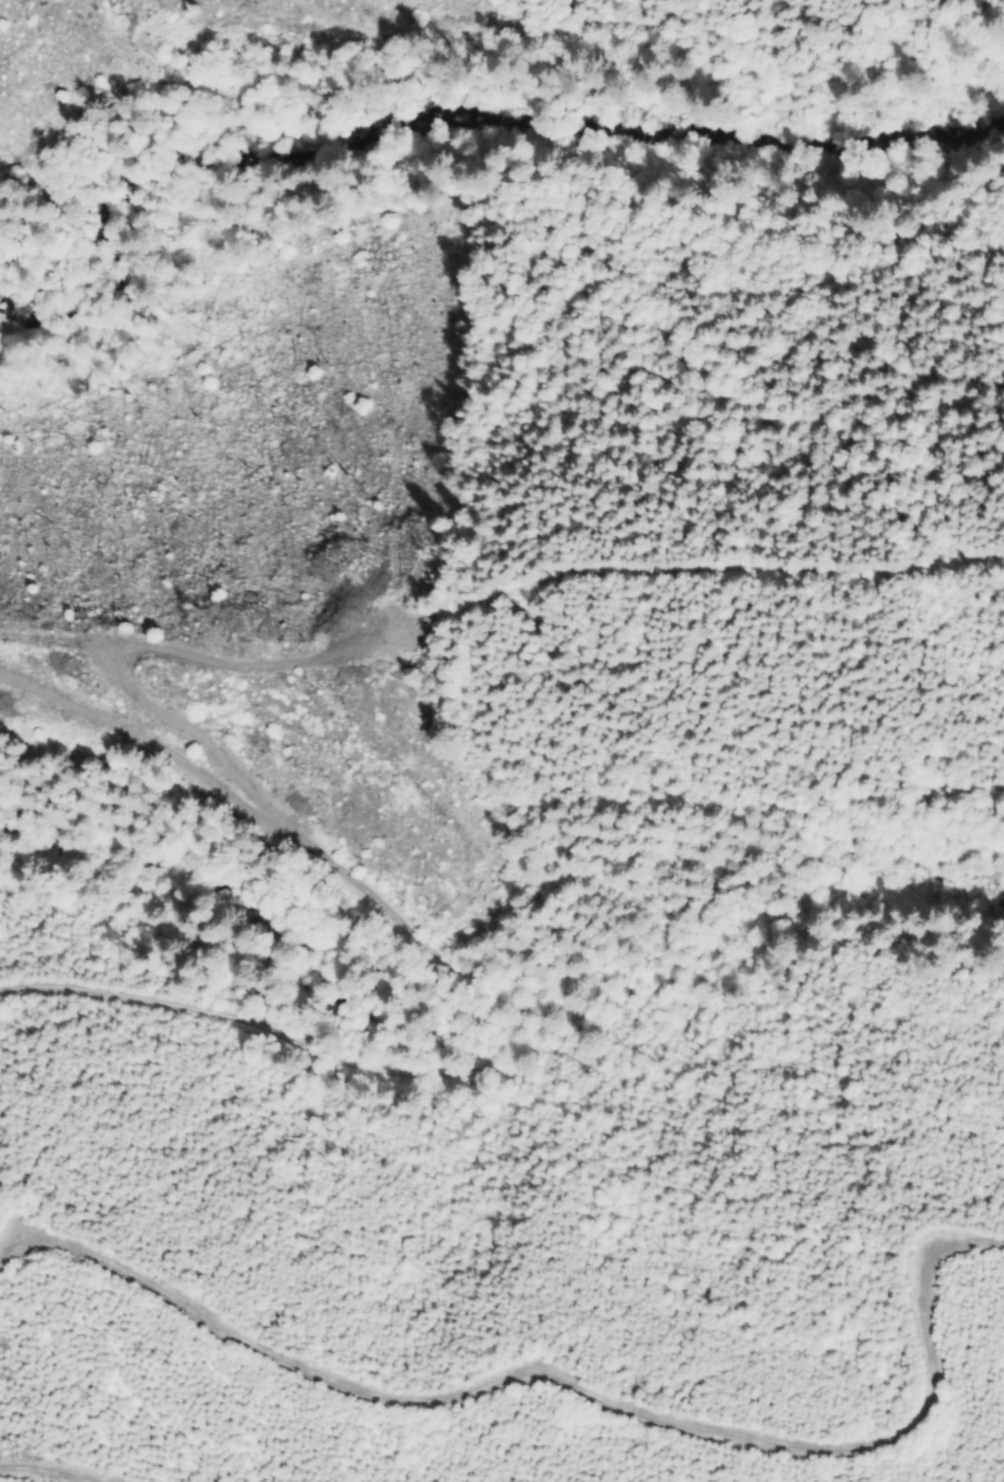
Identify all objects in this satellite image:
road: (175, 713)

